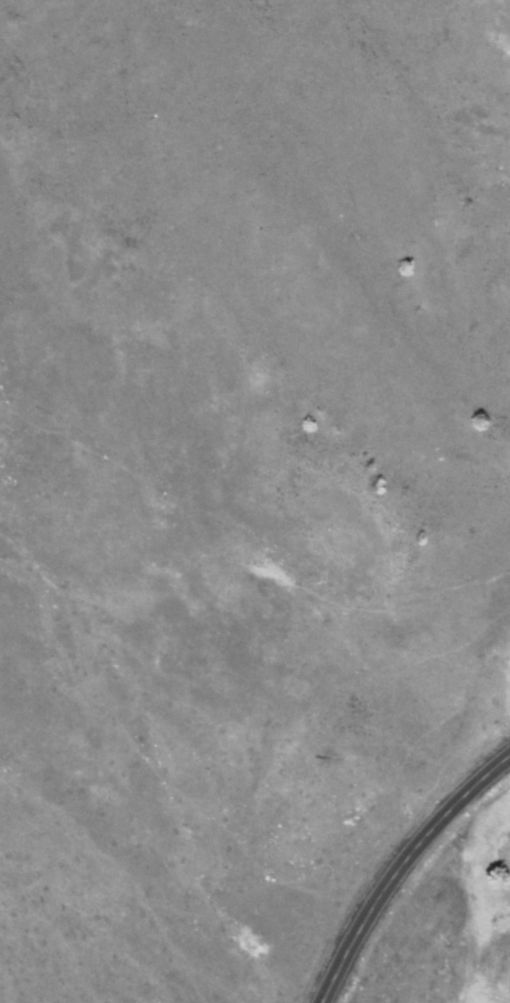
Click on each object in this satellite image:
road: (401, 868)
park: (465, 925)

